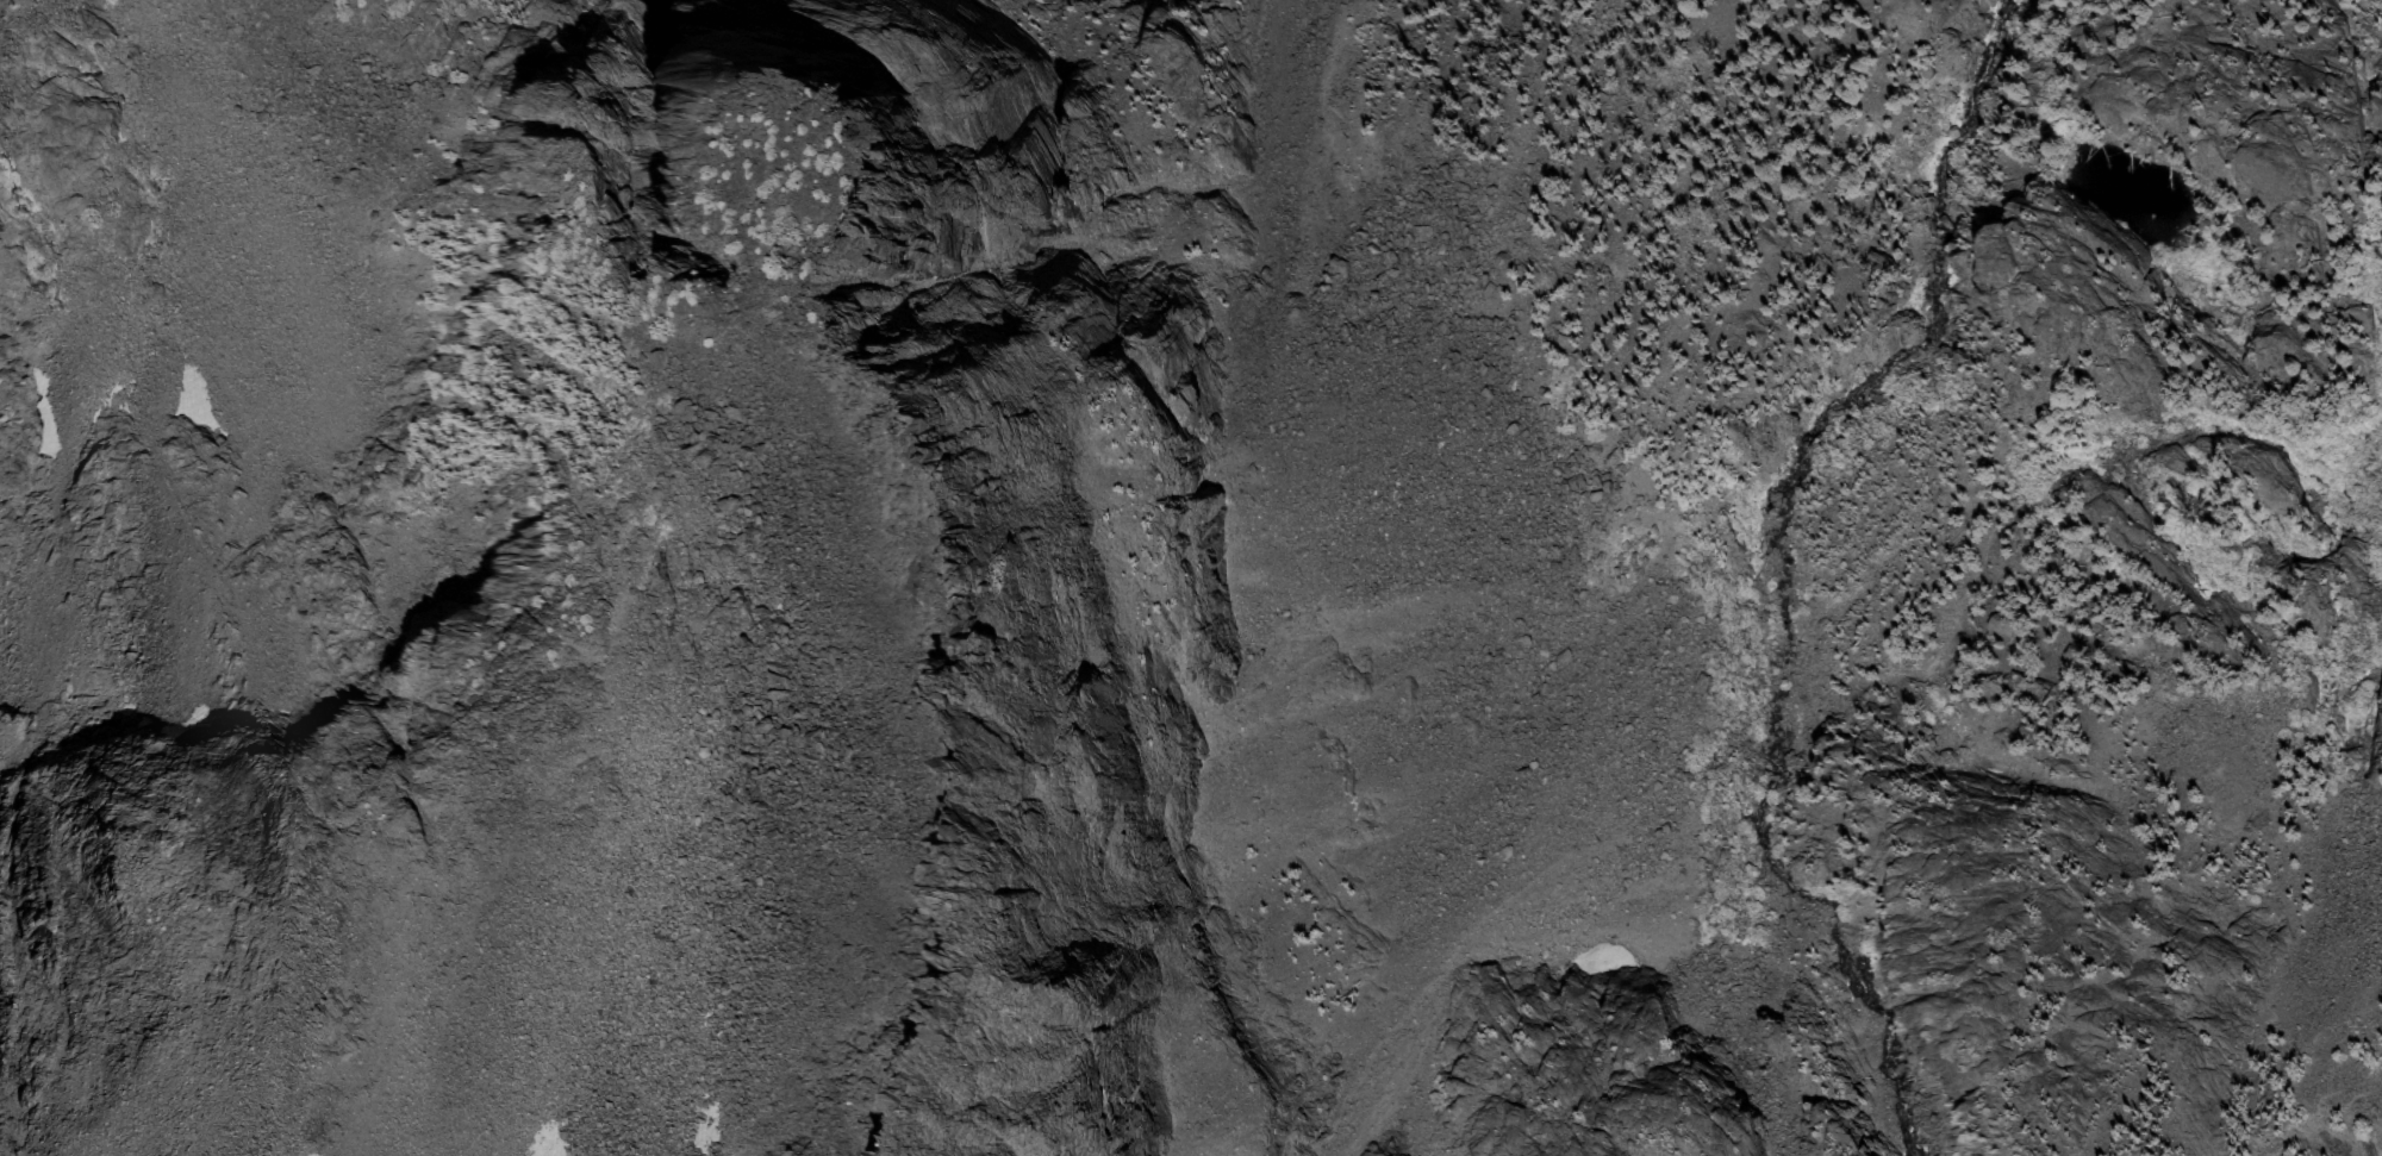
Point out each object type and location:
road: (2169, 149)

